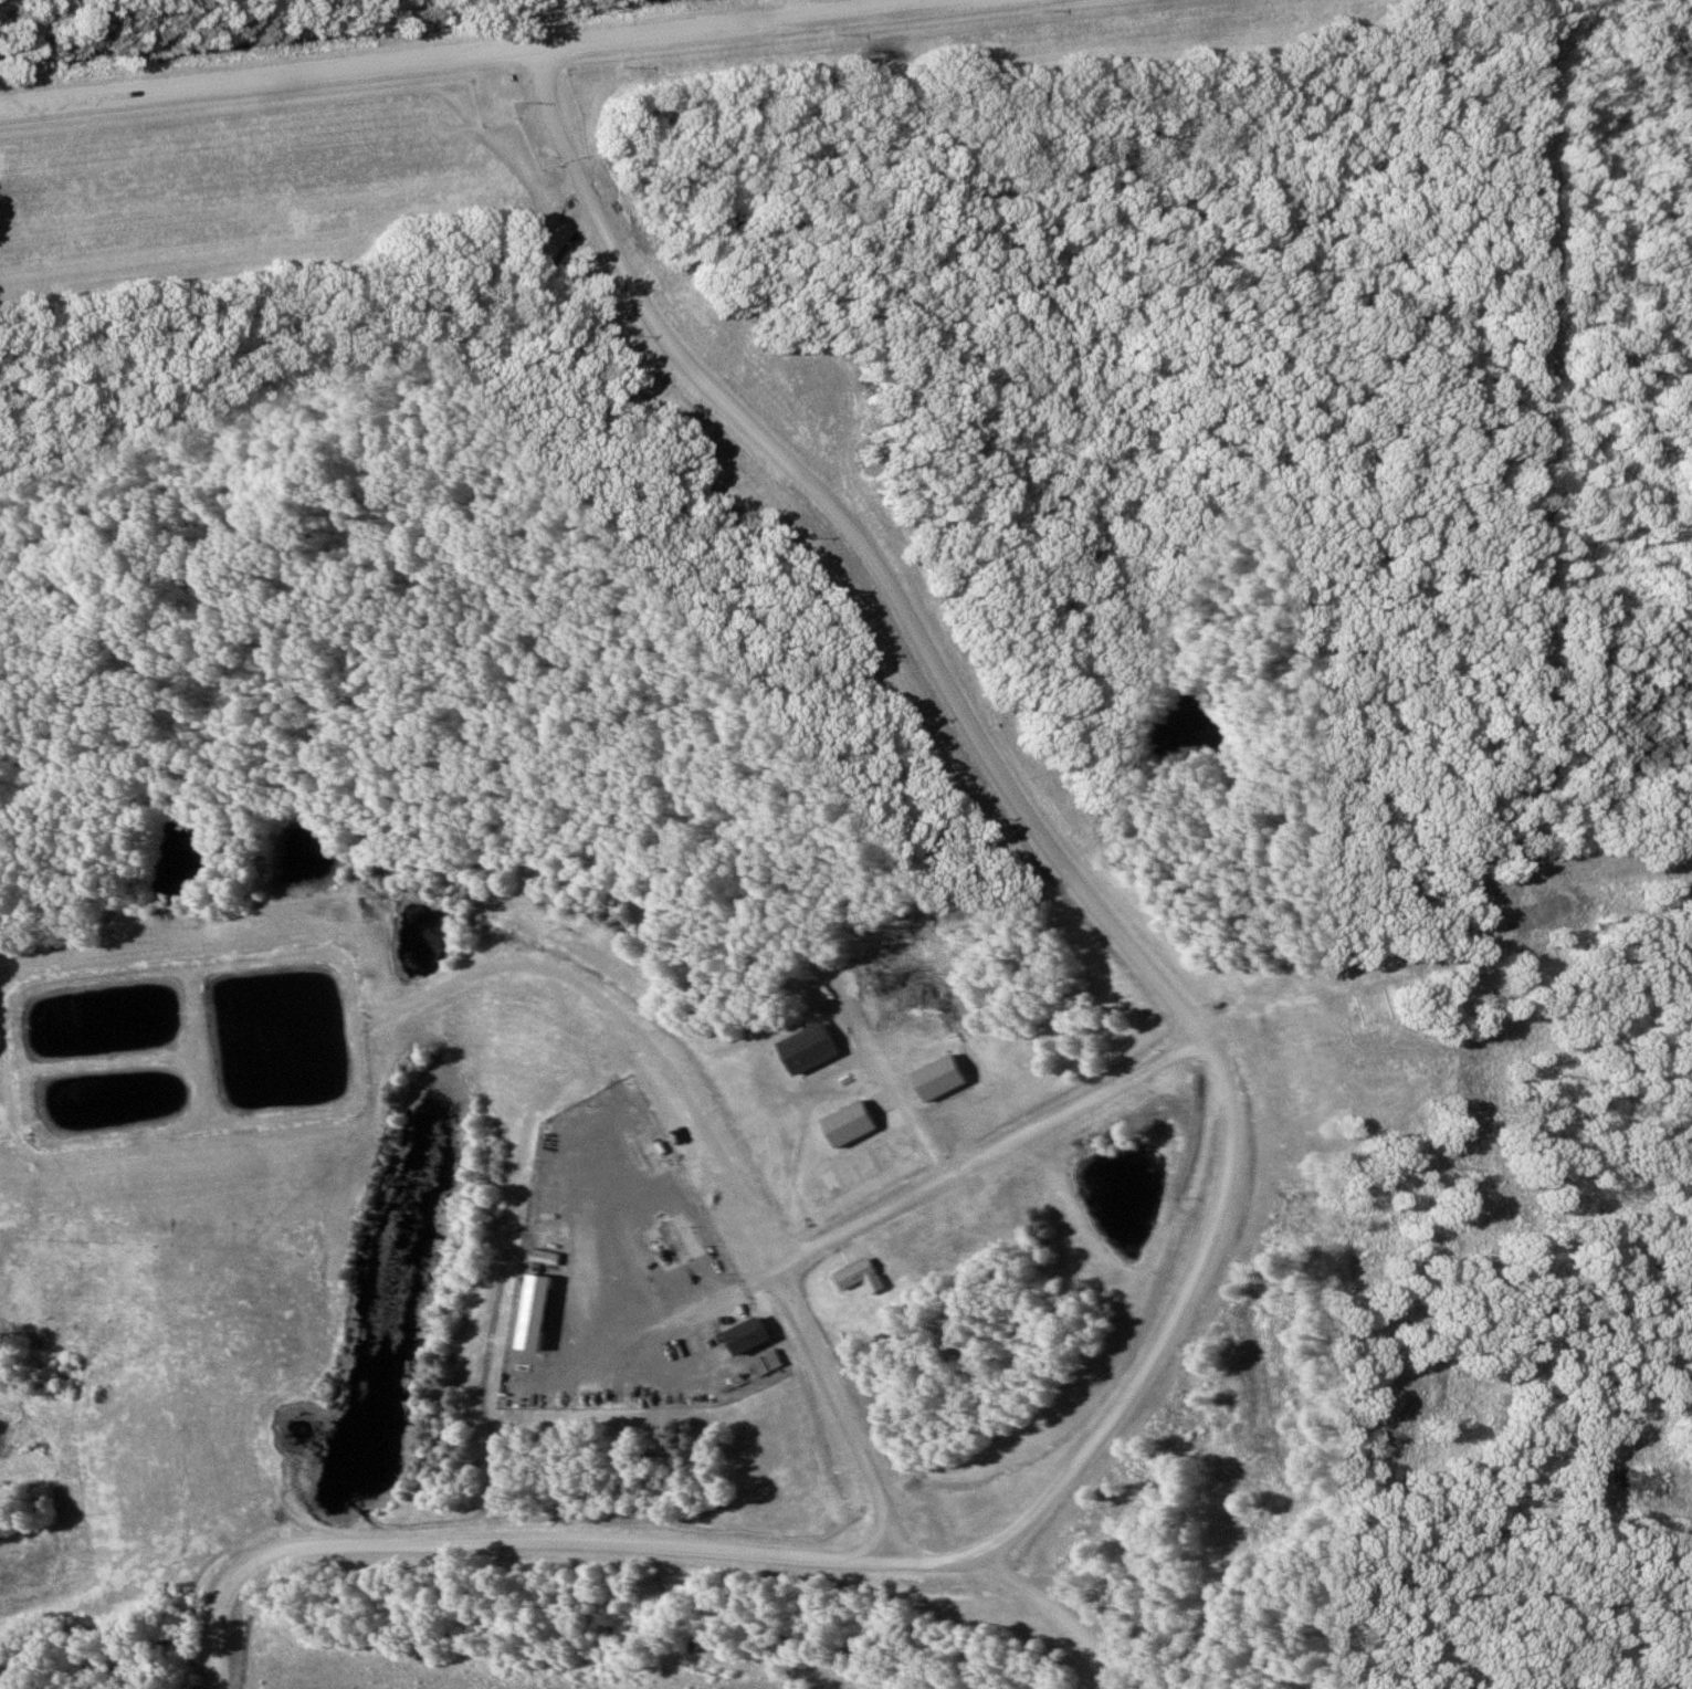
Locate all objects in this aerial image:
road: (791, 10)
road: (476, 55)
building: (809, 980)
building: (813, 1150)
building: (884, 1154)
building: (866, 1163)
road: (1226, 1169)
building: (849, 1173)
building: (831, 1182)
building: (813, 1192)
building: (859, 1274)
building: (745, 1335)
road: (1061, 1614)

